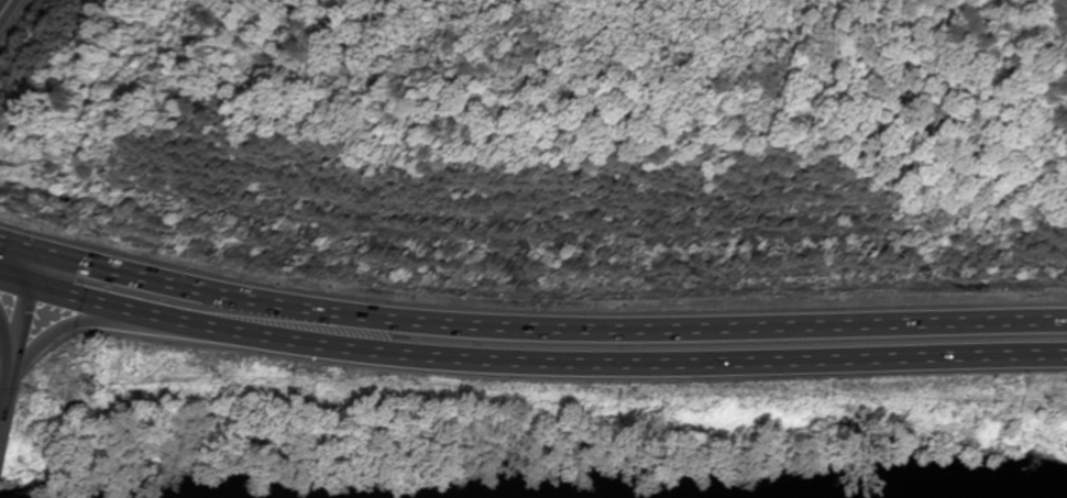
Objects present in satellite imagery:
road: (2, 3)
traffic signals: (41, 256)
traffic signals: (32, 289)
road: (529, 329)
road: (23, 334)
road: (42, 348)
road: (529, 364)
road: (4, 442)

